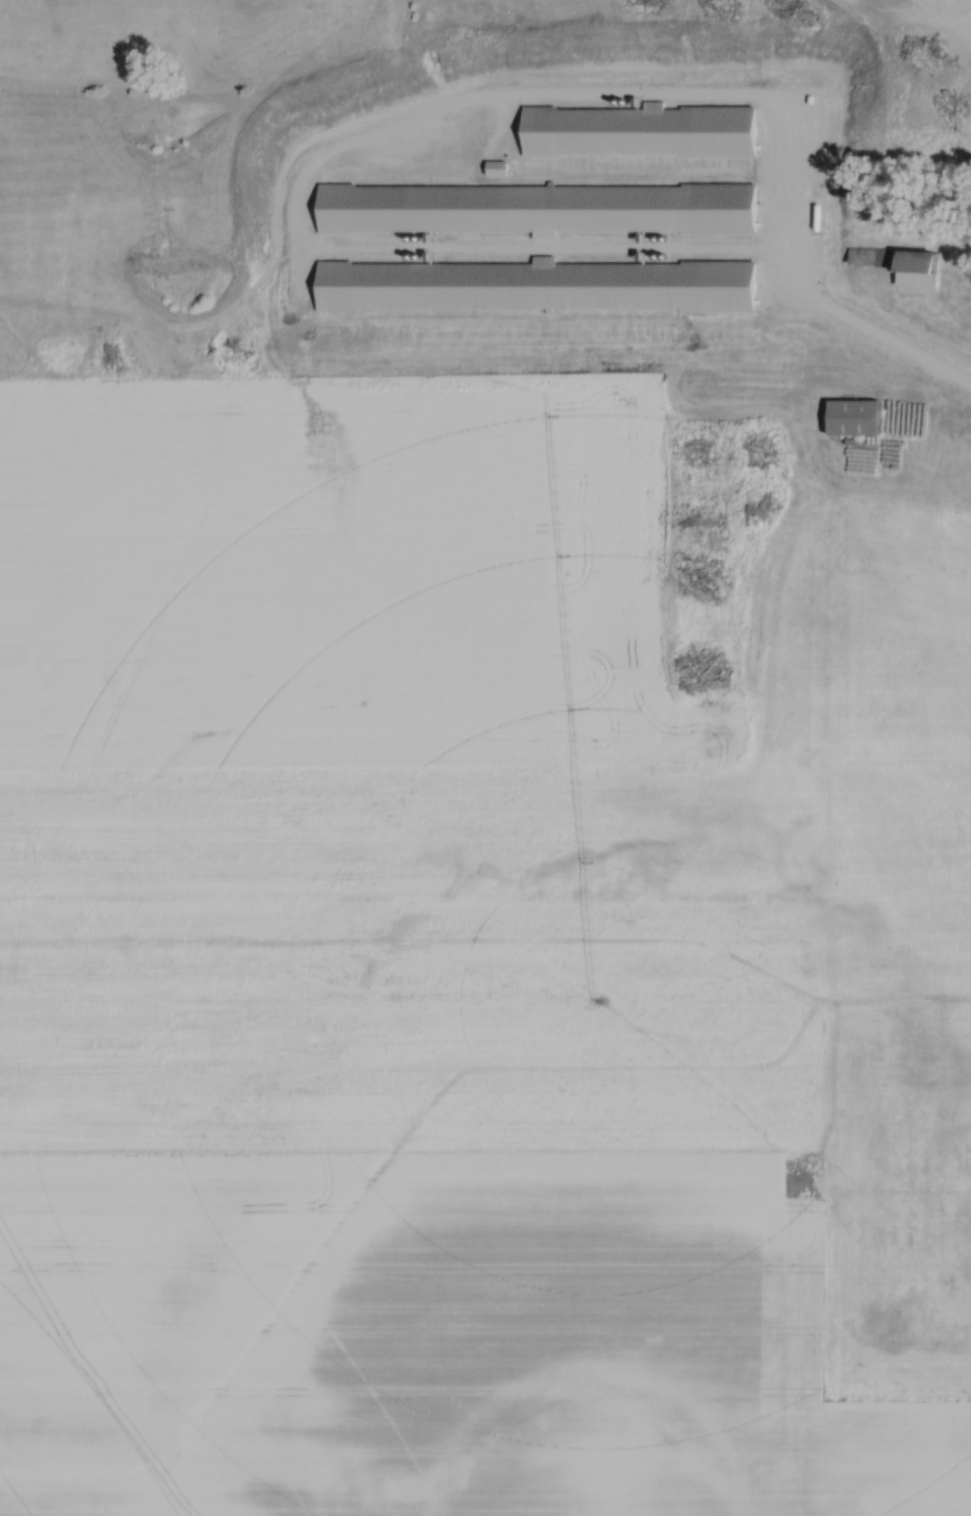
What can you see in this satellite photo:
building: (917, 264)
building: (965, 300)
building: (855, 419)

